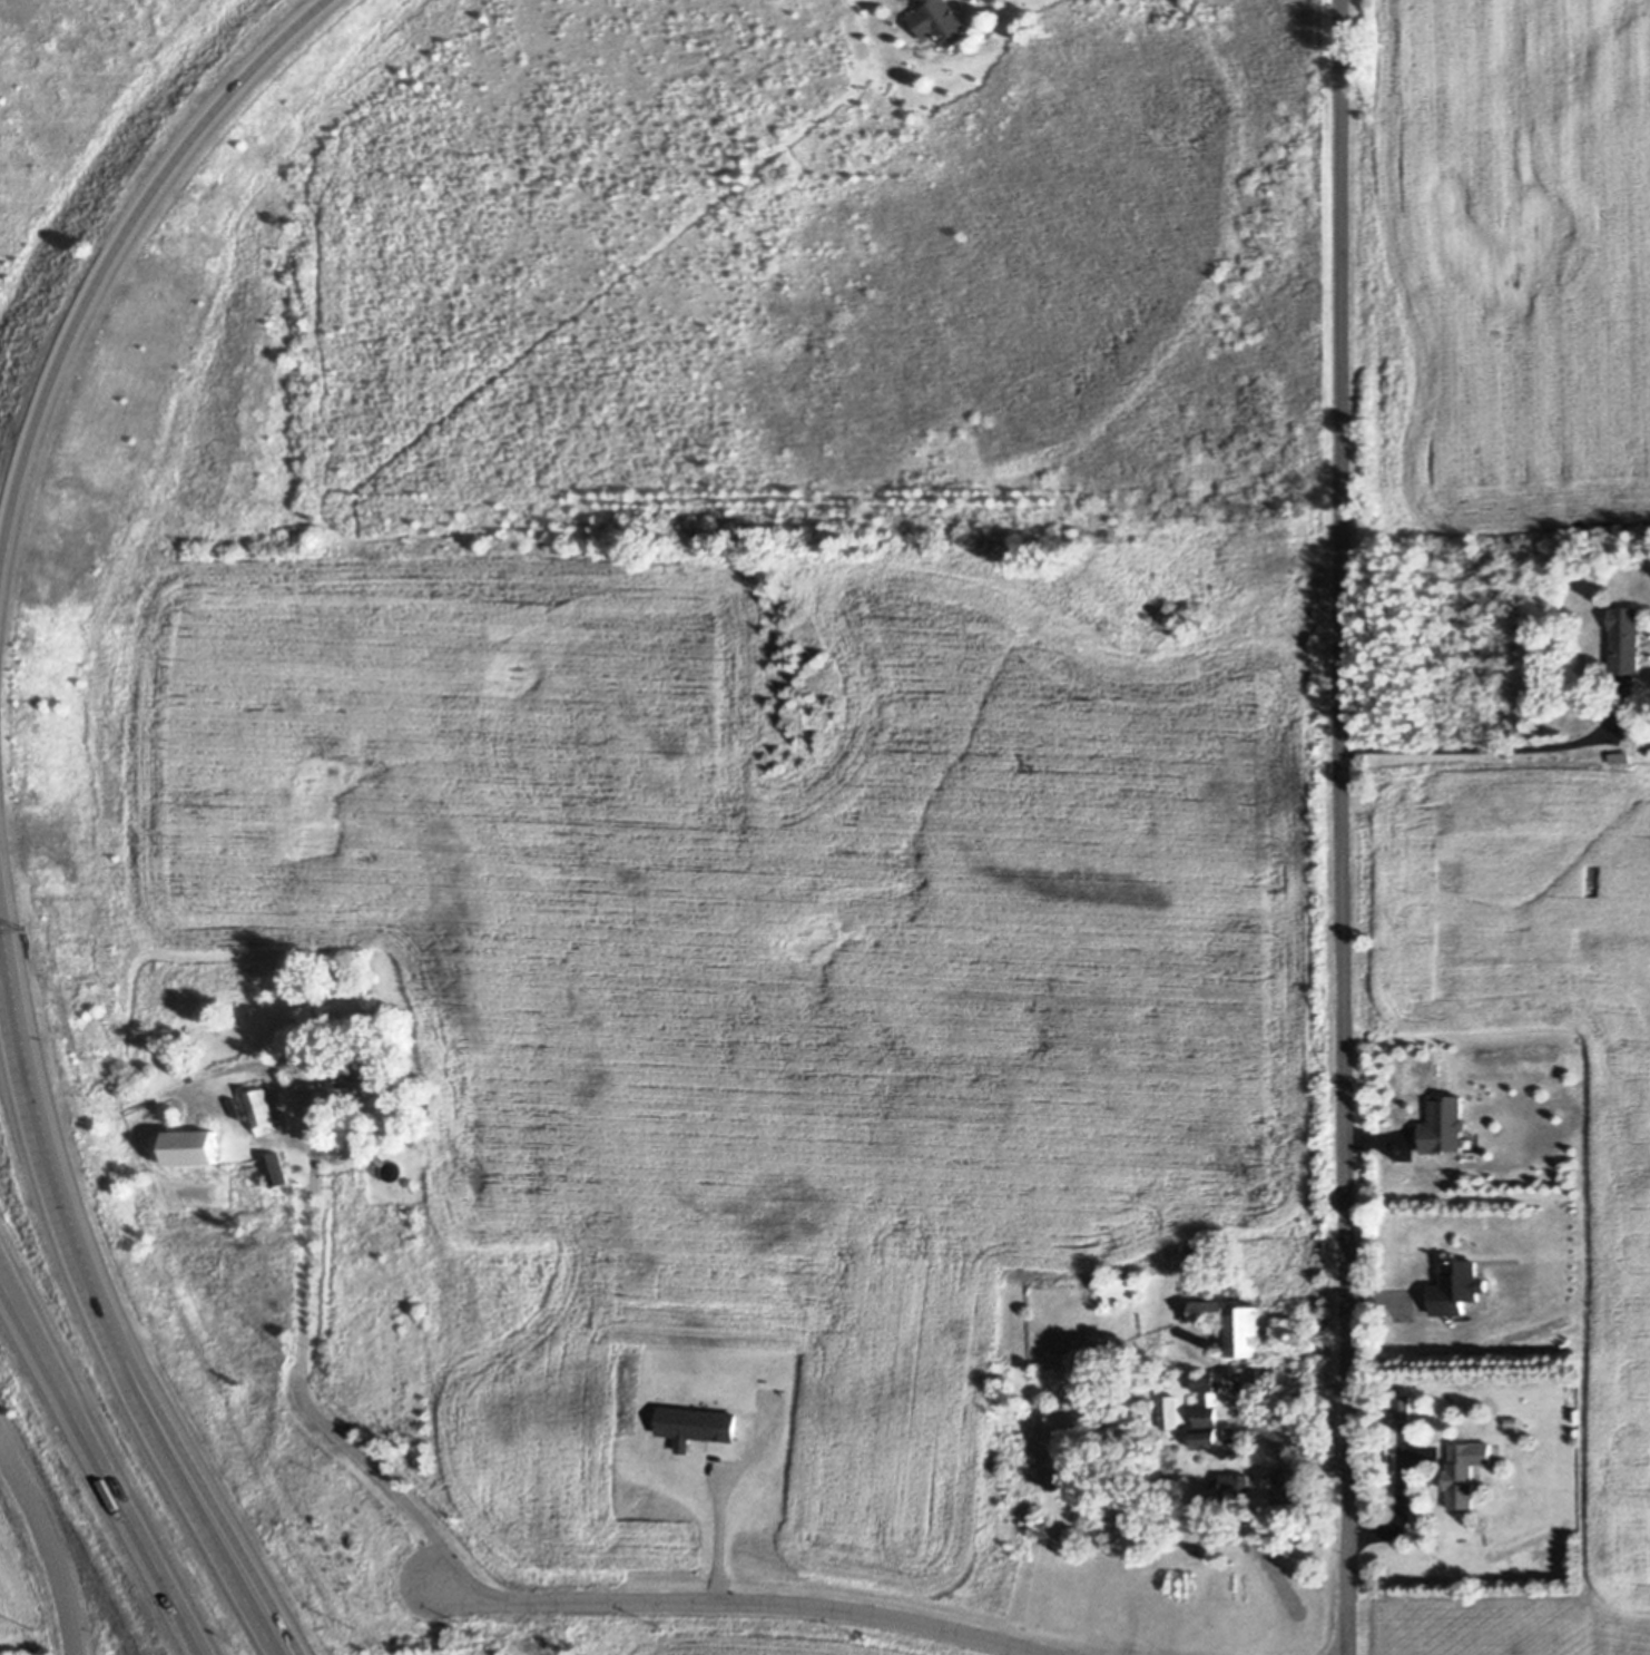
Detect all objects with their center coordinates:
building: (937, 22)
building: (910, 27)
road: (90, 322)
building: (1629, 640)
road: (1476, 740)
building: (1621, 756)
road: (1345, 827)
road: (7, 863)
road: (2, 923)
building: (352, 1032)
building: (357, 1075)
building: (293, 1080)
building: (262, 1112)
building: (1443, 1125)
building: (1469, 1139)
building: (195, 1147)
building: (161, 1158)
building: (275, 1169)
building: (391, 1171)
building: (1206, 1248)
building: (1210, 1266)
building: (1457, 1286)
building: (1122, 1290)
road: (107, 1308)
building: (1206, 1310)
building: (1248, 1333)
building: (1299, 1336)
building: (1225, 1350)
building: (1267, 1378)
building: (1167, 1380)
building: (1205, 1383)
road: (304, 1387)
building: (1404, 1408)
building: (1208, 1410)
building: (1170, 1411)
building: (693, 1420)
building: (1512, 1421)
road: (1261, 1424)
building: (1205, 1439)
road: (102, 1467)
building: (786, 1468)
building: (1464, 1471)
building: (1476, 1473)
building: (1236, 1485)
building: (1289, 1486)
road: (710, 1532)
building: (1212, 1539)
road: (51, 1541)
road: (750, 1604)
road: (279, 1633)
road: (204, 1651)

